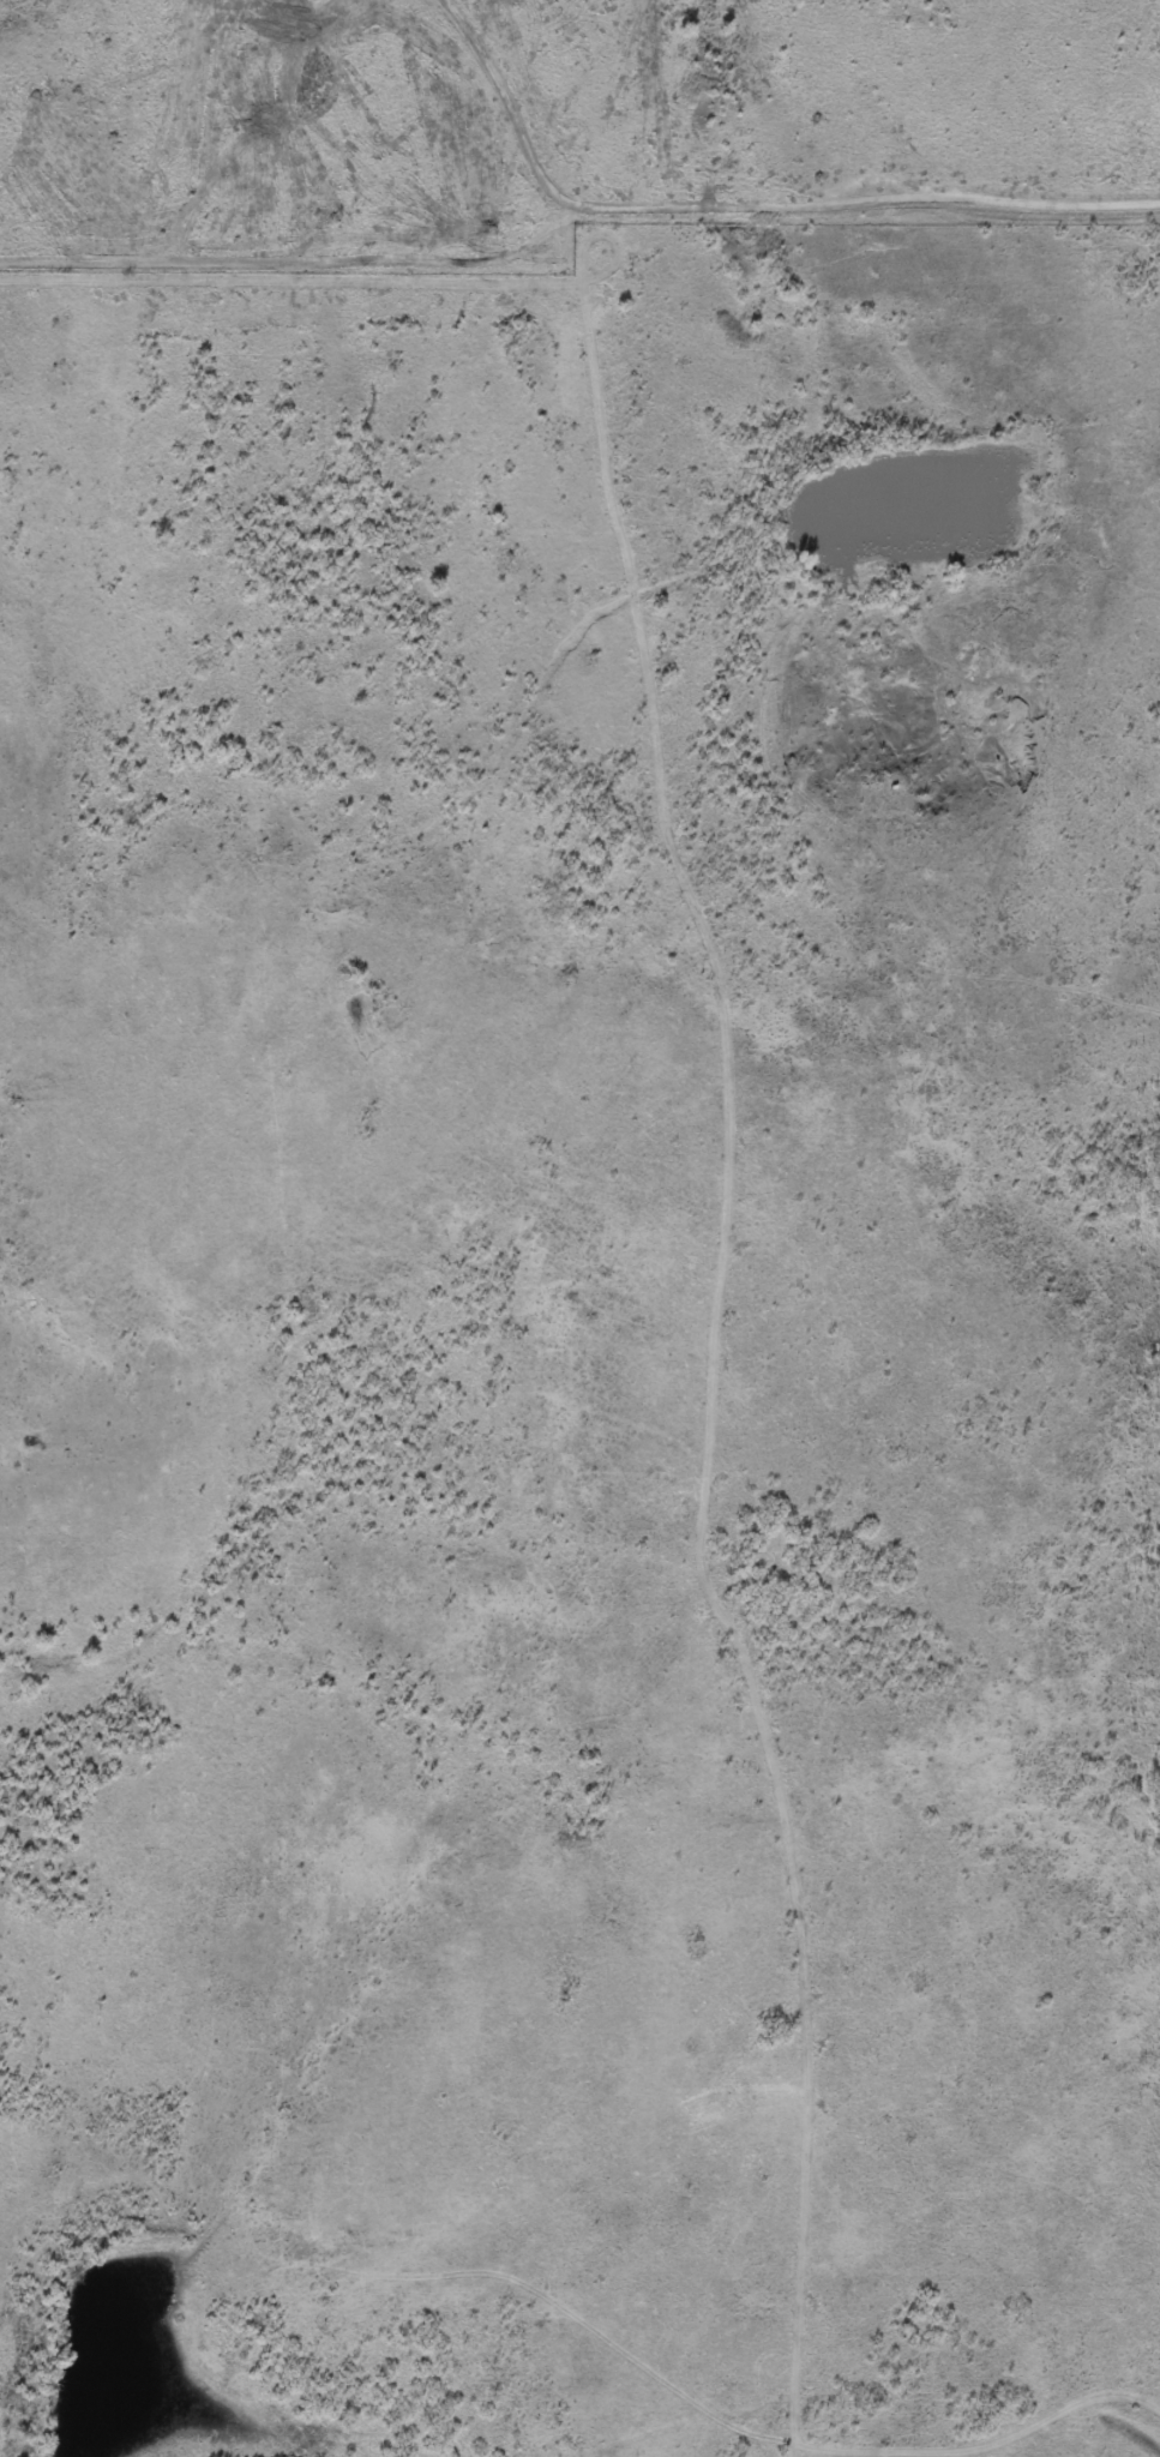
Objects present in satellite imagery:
road: (775, 214)
road: (456, 2372)

